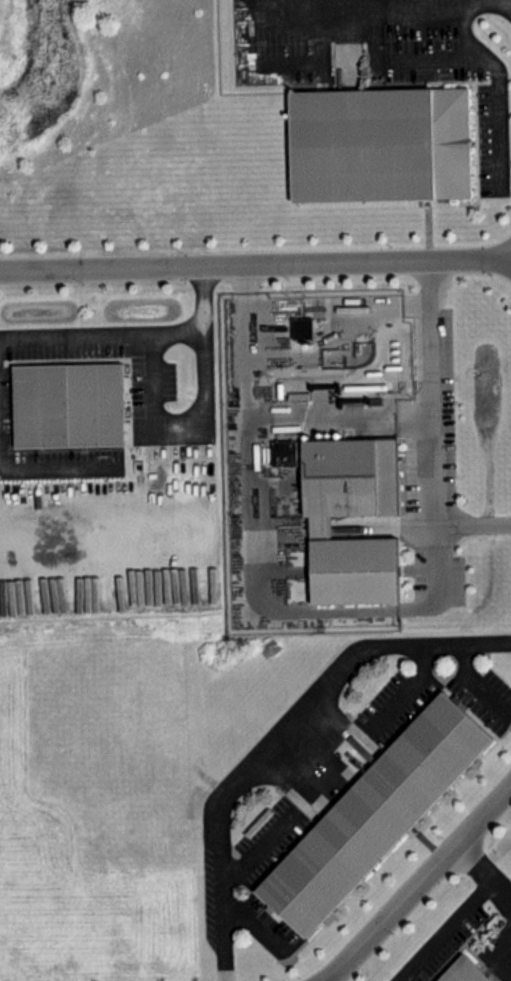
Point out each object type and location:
road: (465, 1)
road: (374, 5)
road: (497, 85)
building: (379, 143)
road: (255, 265)
building: (303, 328)
road: (74, 339)
road: (152, 399)
building: (68, 405)
road: (430, 443)
building: (285, 452)
road: (56, 469)
road: (245, 505)
road: (99, 516)
building: (318, 526)
road: (471, 529)
road: (281, 735)
building: (373, 815)
road: (483, 877)
road: (418, 885)
building: (463, 971)

